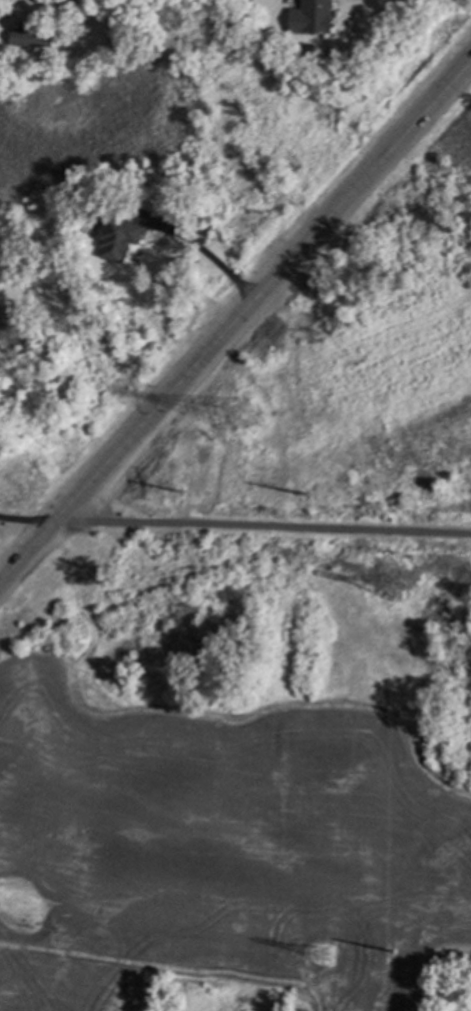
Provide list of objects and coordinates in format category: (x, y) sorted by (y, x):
building: (5, 9)
building: (312, 17)
building: (31, 34)
building: (119, 40)
building: (118, 236)
road: (203, 254)
road: (235, 320)
power tower: (241, 421)
power tower: (177, 493)
power tower: (304, 494)
road: (26, 520)
road: (262, 526)
power tower: (469, 534)
power tower: (389, 589)
power tower: (318, 959)

